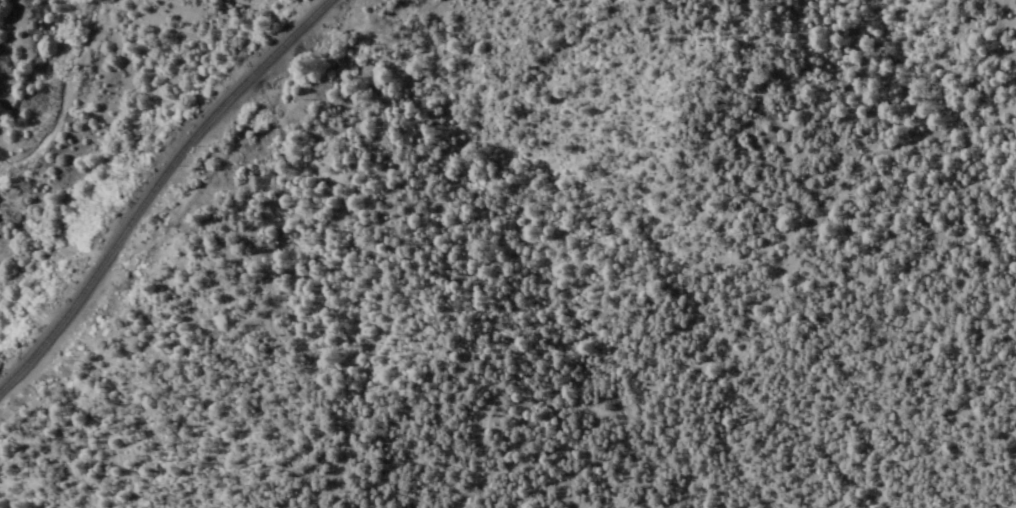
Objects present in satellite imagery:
railway: (153, 186)

